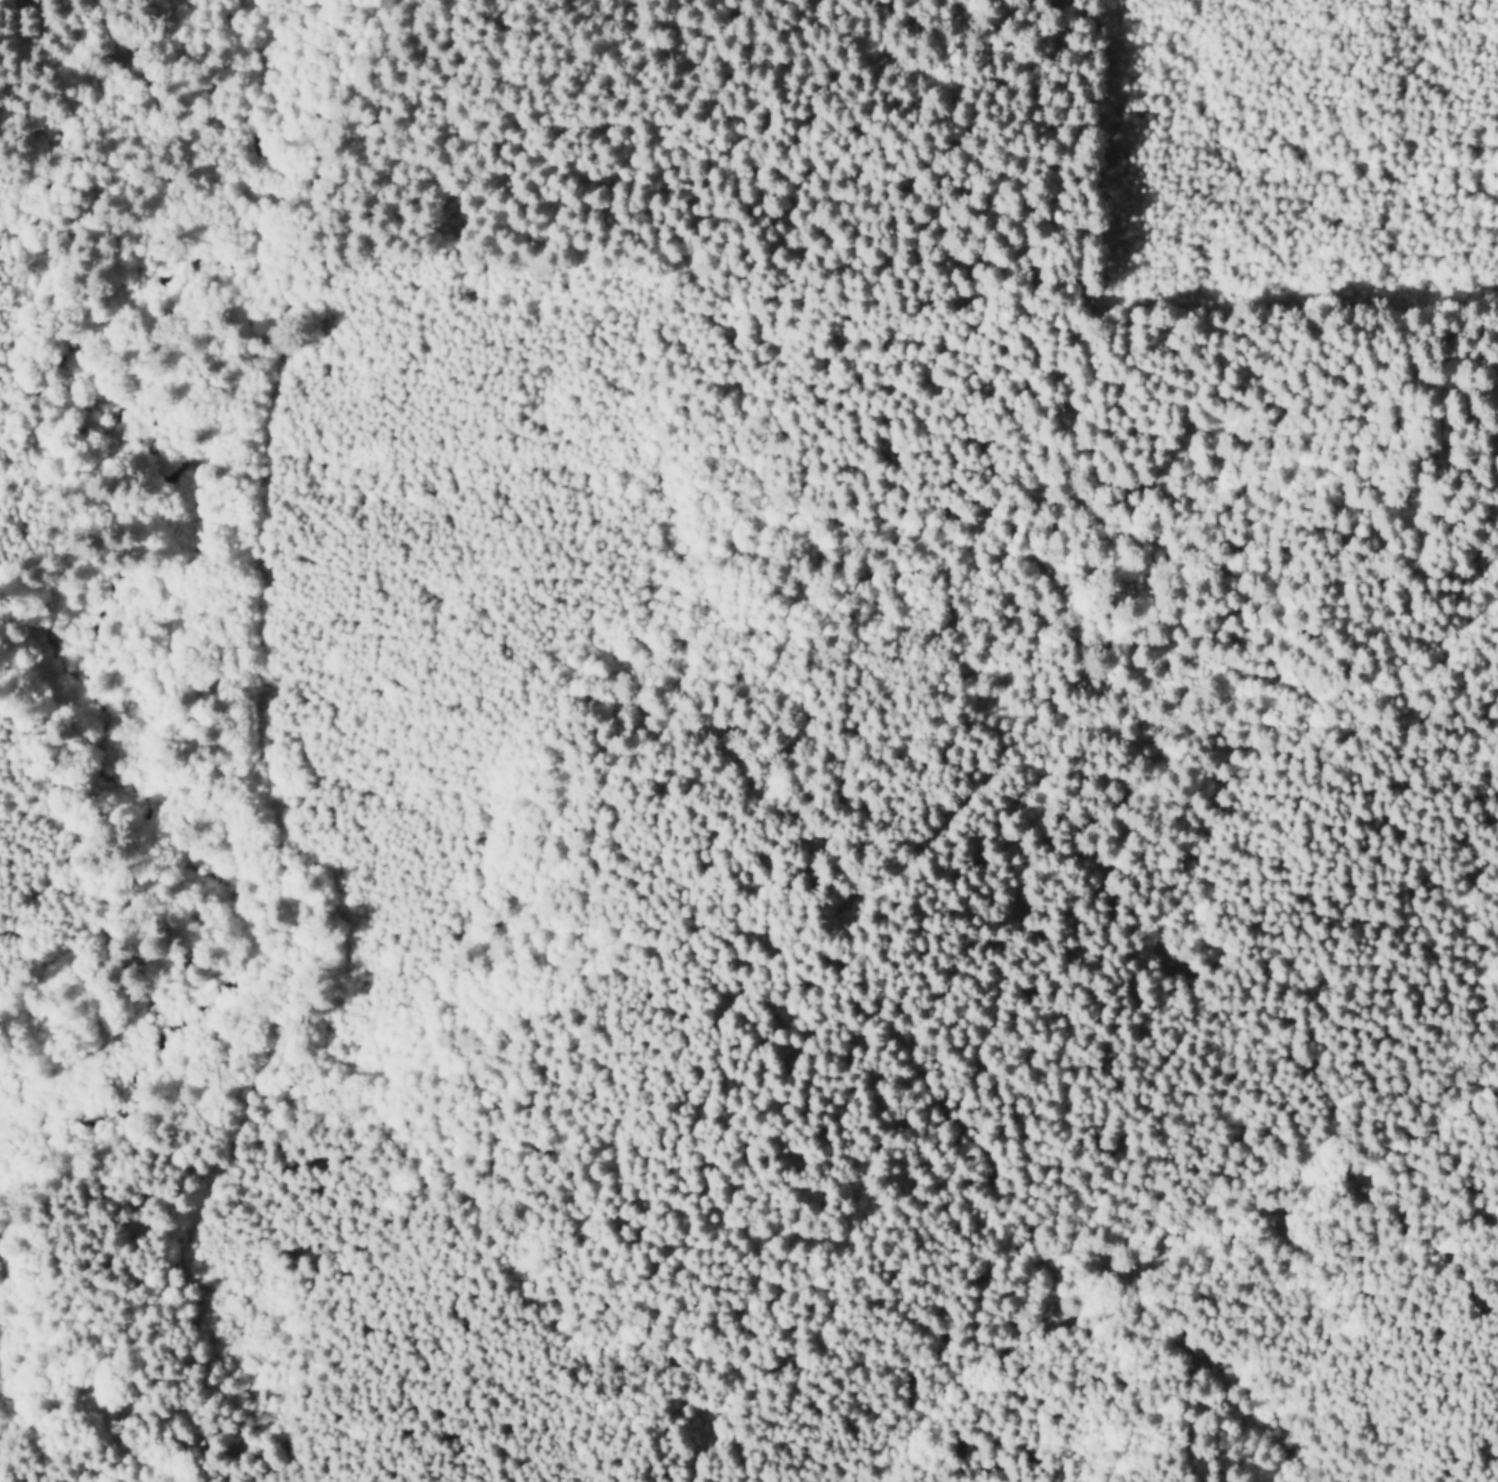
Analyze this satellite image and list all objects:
road: (1146, 691)
road: (271, 765)
road: (109, 1439)
road: (696, 1458)

